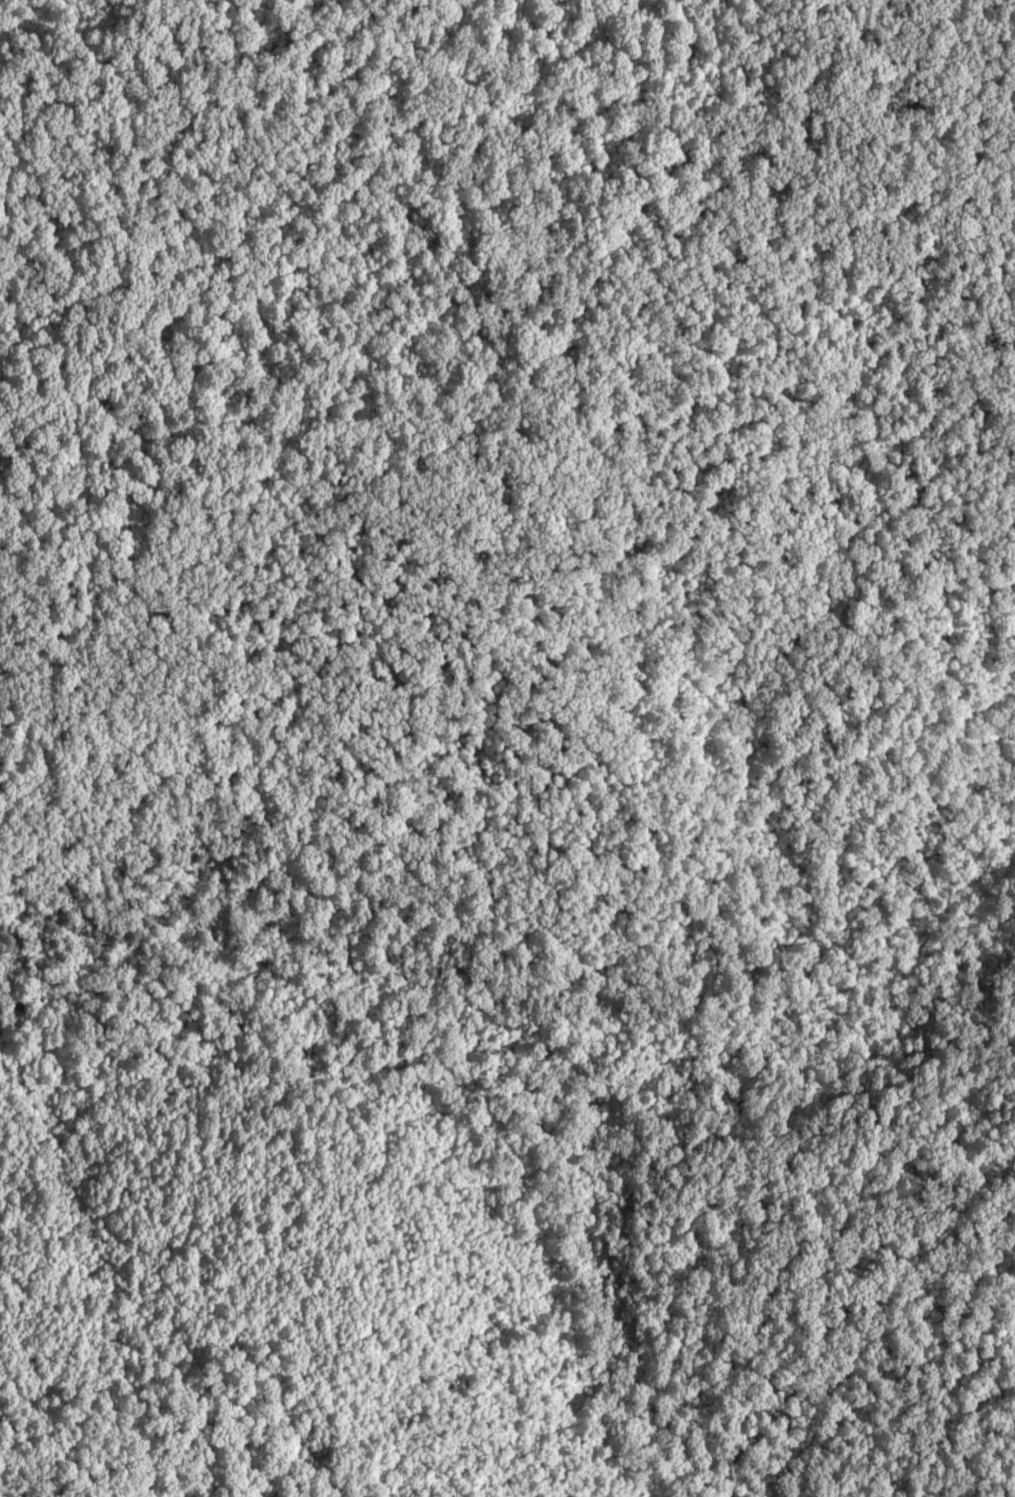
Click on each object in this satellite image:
road: (493, 403)

